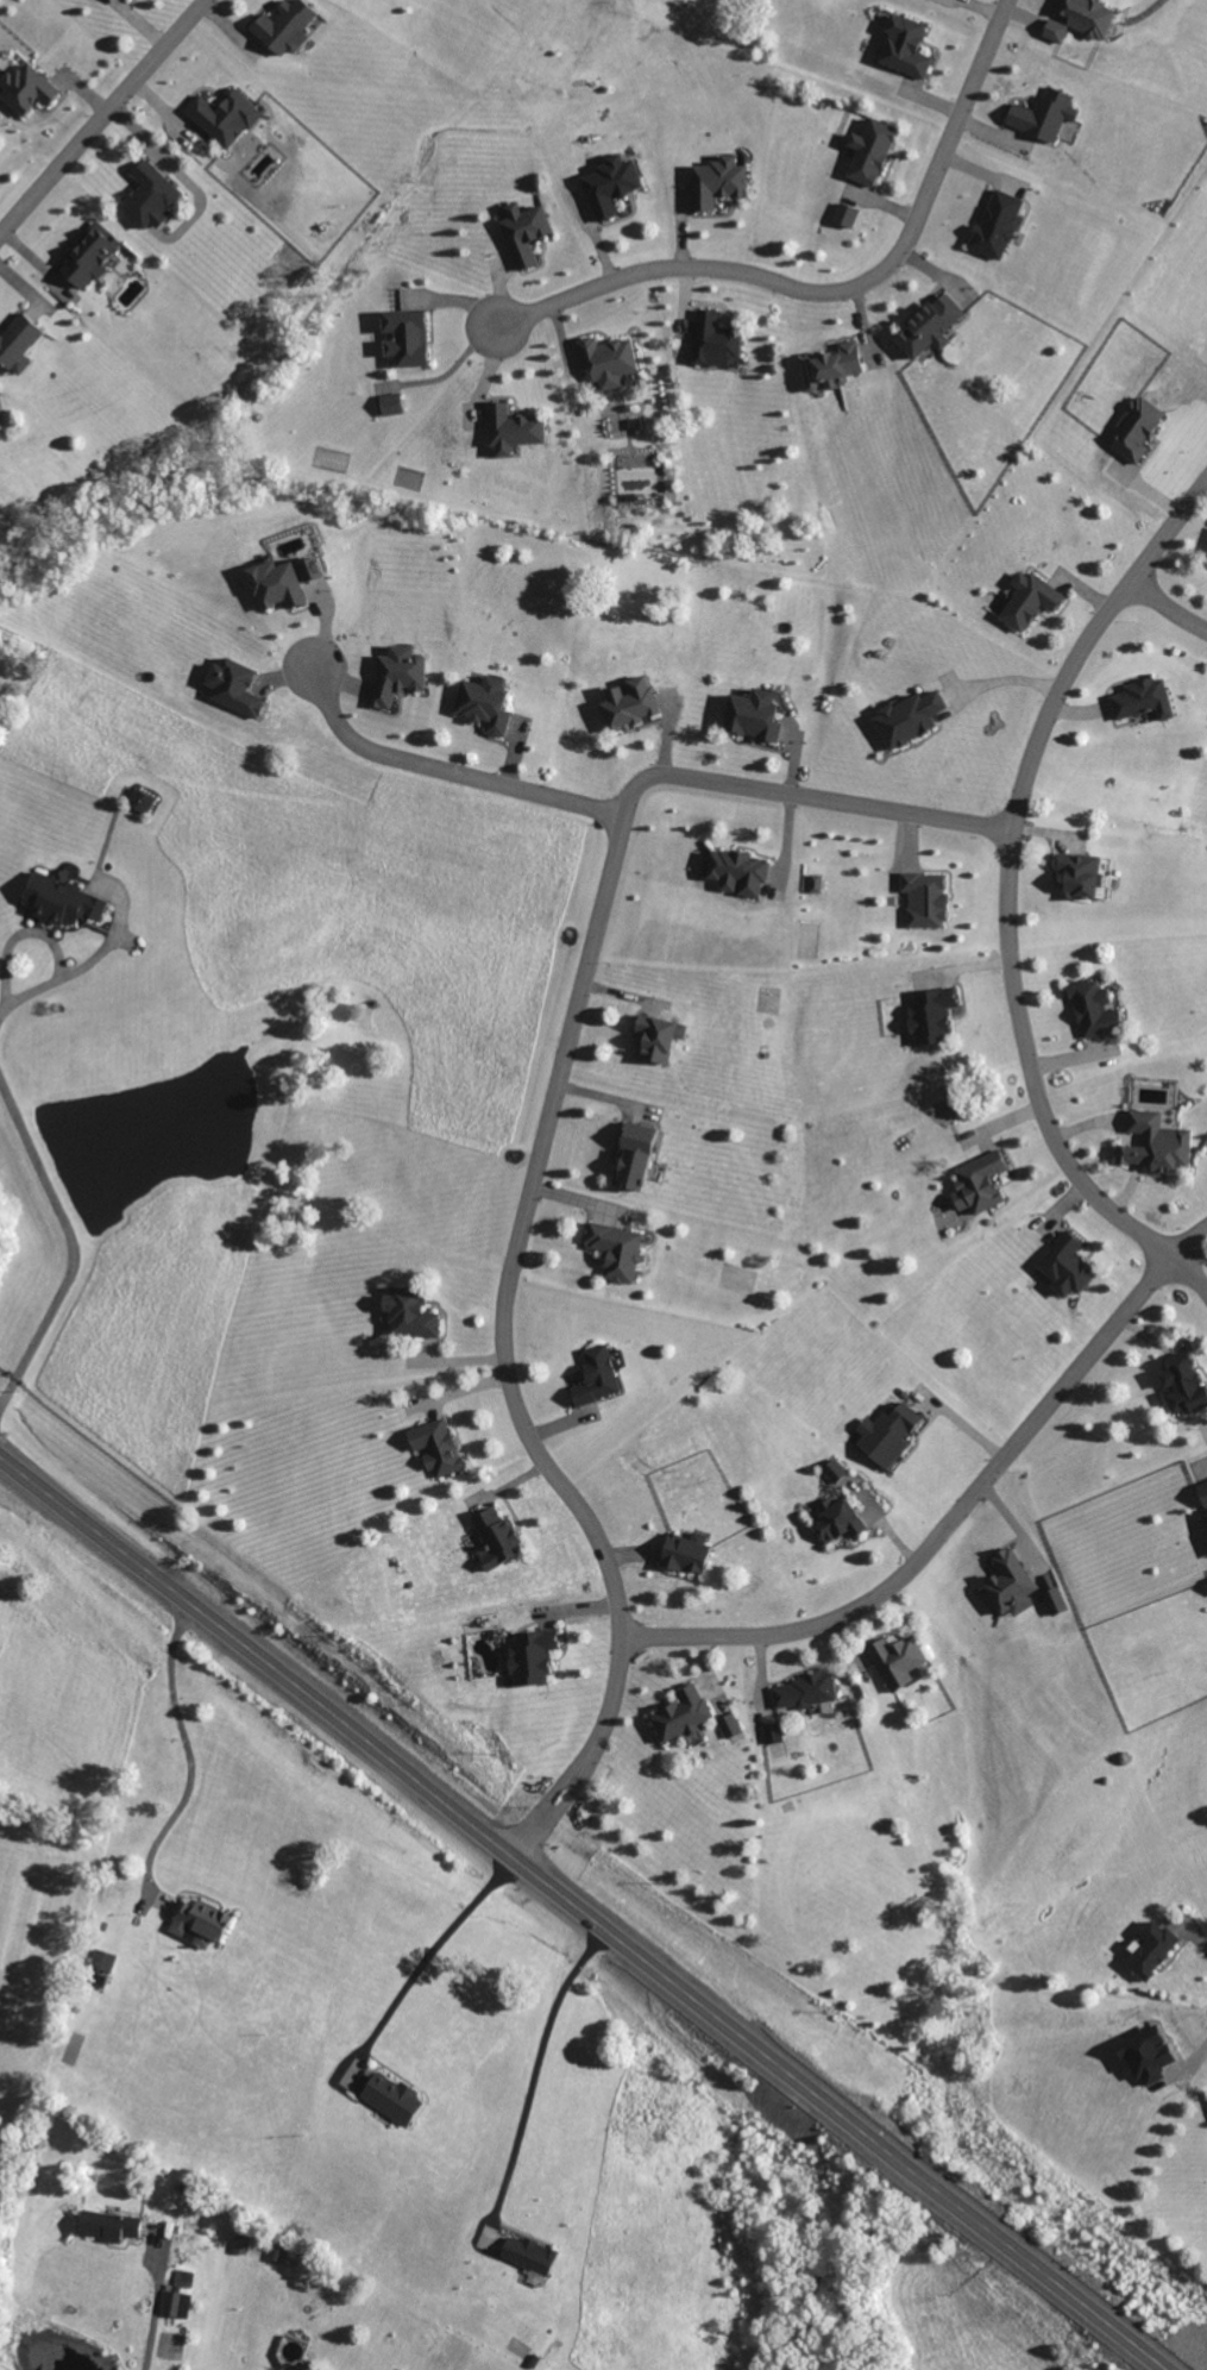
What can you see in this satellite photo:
building: (127, 0)
building: (1085, 19)
building: (282, 30)
building: (1054, 33)
building: (903, 50)
building: (24, 92)
road: (100, 112)
building: (1042, 118)
building: (221, 120)
building: (868, 156)
building: (715, 186)
building: (609, 188)
building: (146, 200)
building: (844, 219)
building: (994, 230)
building: (522, 236)
building: (87, 261)
road: (838, 303)
building: (928, 330)
building: (403, 340)
building: (712, 344)
building: (15, 347)
building: (605, 364)
building: (829, 371)
building: (389, 407)
building: (510, 433)
building: (1136, 434)
building: (1206, 564)
building: (309, 572)
building: (275, 589)
building: (1027, 604)
road: (1170, 612)
building: (396, 678)
building: (232, 691)
building: (1142, 703)
building: (628, 707)
building: (483, 709)
building: (750, 719)
building: (906, 722)
road: (440, 784)
building: (138, 804)
building: (736, 876)
building: (1080, 879)
building: (813, 888)
road: (1010, 902)
building: (57, 904)
building: (924, 904)
road: (43, 940)
road: (1, 1008)
building: (1093, 1012)
building: (930, 1018)
building: (656, 1039)
building: (1155, 1146)
road: (540, 1158)
building: (977, 1185)
road: (71, 1249)
building: (614, 1254)
building: (1064, 1268)
building: (407, 1316)
building: (593, 1379)
building: (1181, 1387)
building: (888, 1436)
building: (434, 1450)
building: (832, 1473)
building: (1203, 1497)
road: (957, 1522)
building: (836, 1523)
building: (1206, 1535)
building: (495, 1541)
building: (685, 1555)
building: (1008, 1587)
building: (528, 1660)
building: (895, 1663)
building: (803, 1694)
building: (679, 1717)
building: (728, 1729)
road: (182, 1747)
road: (584, 1913)
building: (196, 1926)
road: (433, 1951)
building: (1150, 1952)
building: (99, 1963)
building: (1144, 2059)
road: (534, 2070)
building: (388, 2102)
building: (105, 2230)
building: (527, 2258)
building: (181, 2282)
road: (153, 2309)

